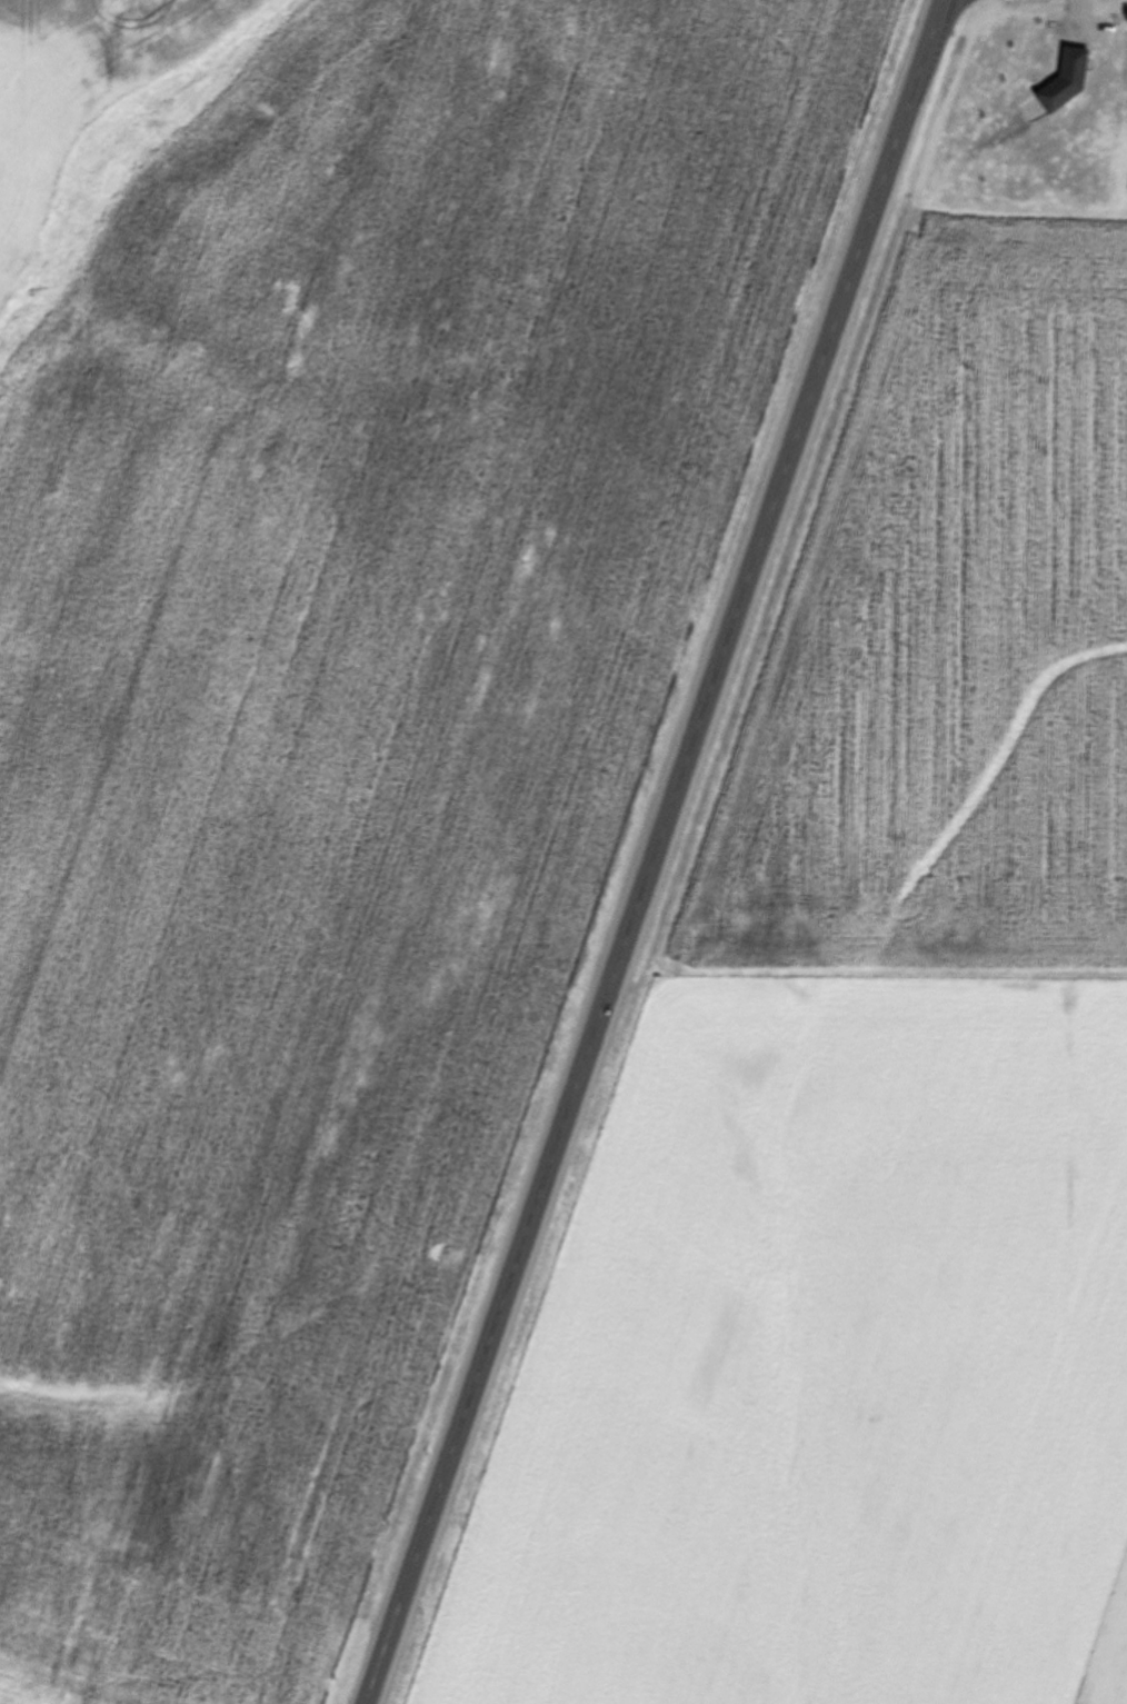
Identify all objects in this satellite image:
road: (657, 851)

